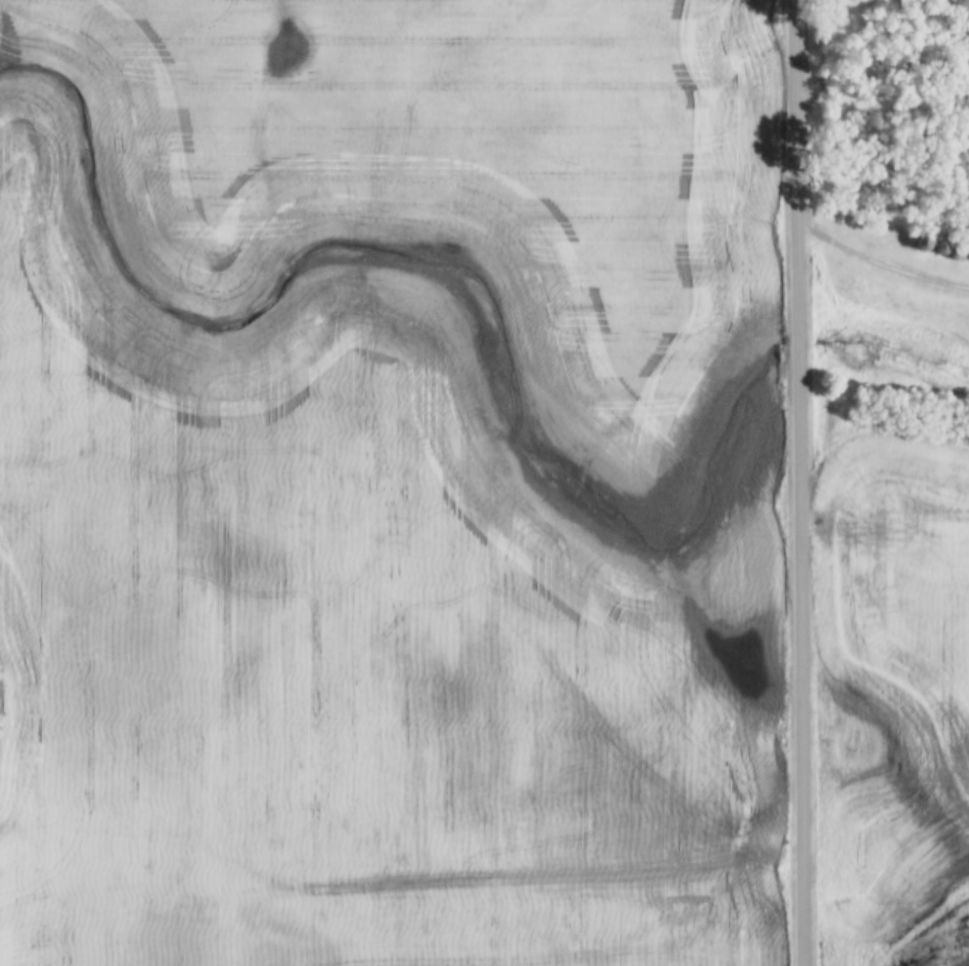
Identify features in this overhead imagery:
building: (924, 241)
building: (944, 247)
road: (879, 264)
road: (801, 483)

